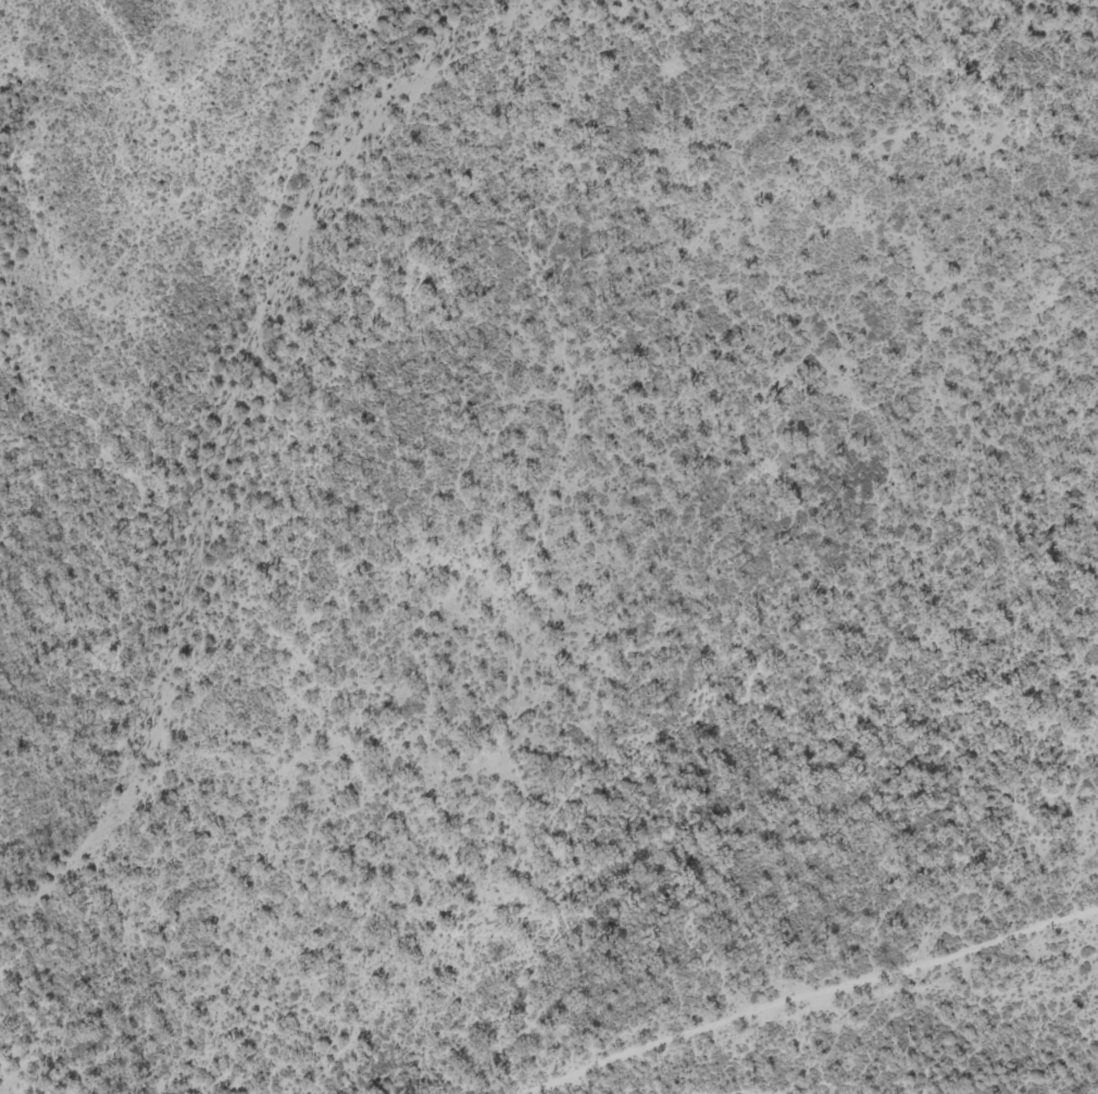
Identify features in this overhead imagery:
road: (811, 998)

